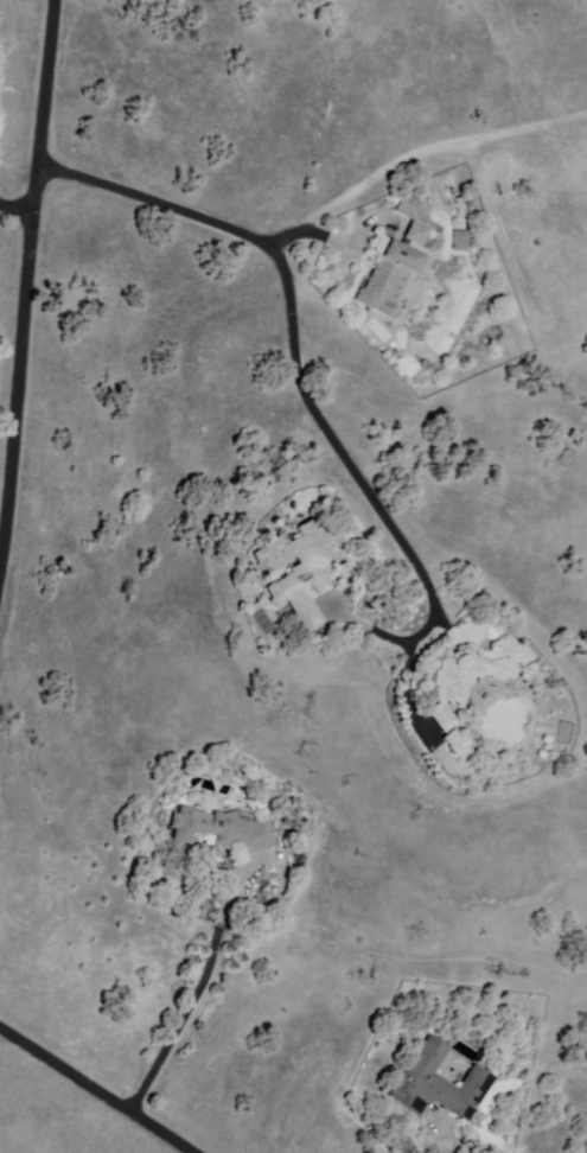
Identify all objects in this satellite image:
road: (432, 148)
road: (18, 206)
building: (409, 206)
road: (312, 232)
building: (419, 235)
building: (460, 242)
building: (389, 280)
road: (28, 291)
road: (294, 345)
building: (300, 574)
building: (451, 697)
building: (223, 830)
road: (219, 931)
building: (436, 1084)
road: (94, 1090)

